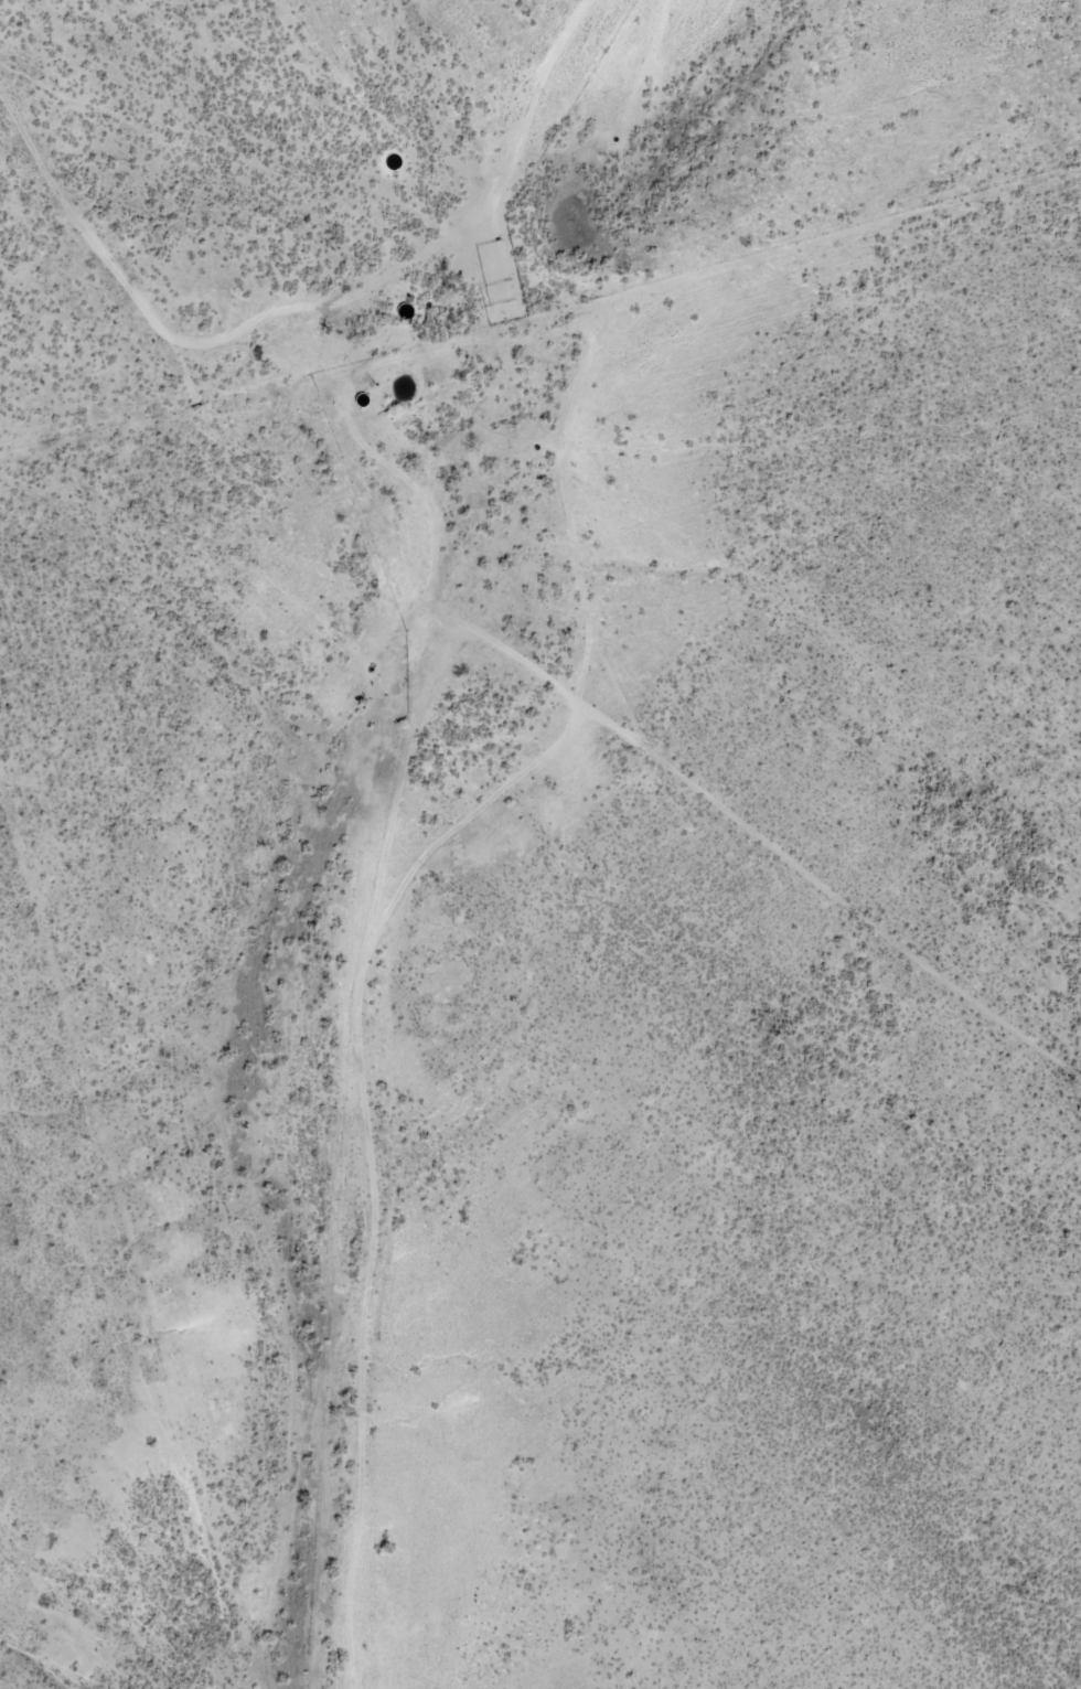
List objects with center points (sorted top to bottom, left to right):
road: (402, 142)
road: (196, 380)
road: (103, 431)
road: (673, 761)

